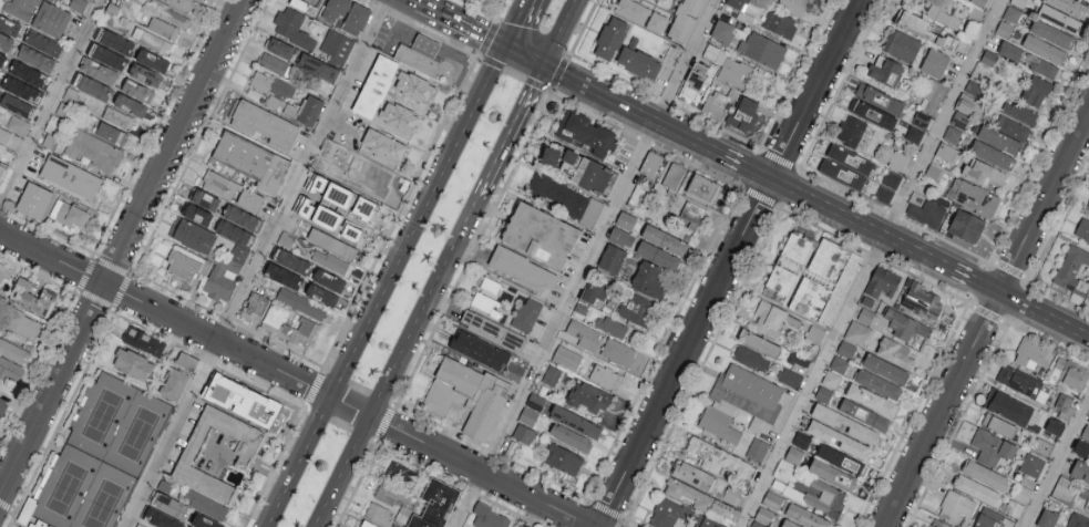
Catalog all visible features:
road: (415, 0)
building: (312, 1)
building: (480, 1)
building: (979, 1)
building: (1019, 2)
building: (184, 3)
building: (736, 3)
building: (78, 4)
building: (793, 6)
building: (1070, 7)
building: (304, 8)
building: (20, 9)
building: (336, 10)
building: (168, 13)
building: (1013, 13)
building: (943, 15)
building: (1059, 18)
building: (51, 19)
building: (355, 21)
road: (462, 23)
road: (517, 23)
building: (780, 23)
building: (9, 27)
building: (164, 28)
building: (292, 28)
building: (924, 29)
building: (723, 31)
road: (562, 33)
building: (1052, 33)
building: (677, 34)
building: (151, 40)
building: (6, 41)
building: (43, 43)
building: (902, 45)
building: (337, 46)
traffic signals: (506, 46)
building: (280, 48)
building: (111, 49)
building: (1045, 49)
building: (762, 50)
building: (624, 52)
building: (715, 53)
road: (526, 55)
building: (420, 58)
building: (989, 58)
building: (2, 59)
building: (35, 59)
building: (1029, 60)
building: (152, 61)
building: (935, 62)
building: (274, 63)
traffic signals: (546, 66)
building: (318, 68)
building: (97, 71)
building: (886, 71)
building: (736, 72)
building: (28, 74)
building: (145, 75)
building: (695, 84)
building: (376, 86)
building: (414, 86)
building: (93, 87)
building: (974, 87)
building: (22, 89)
building: (273, 90)
building: (137, 91)
building: (1036, 91)
building: (933, 95)
building: (880, 99)
road: (50, 104)
building: (718, 104)
building: (17, 105)
building: (130, 105)
road: (634, 110)
building: (966, 110)
building: (305, 111)
building: (1019, 112)
building: (743, 114)
building: (872, 114)
building: (399, 116)
building: (117, 117)
building: (922, 118)
building: (264, 124)
building: (16, 125)
road: (343, 127)
building: (1013, 127)
building: (851, 131)
road: (514, 132)
building: (112, 133)
building: (583, 133)
building: (914, 134)
building: (953, 134)
building: (999, 139)
building: (383, 145)
building: (93, 151)
building: (946, 152)
building: (993, 155)
building: (850, 161)
building: (253, 162)
building: (369, 166)
building: (650, 166)
road: (746, 166)
building: (840, 166)
building: (1, 170)
building: (933, 172)
building: (585, 173)
building: (984, 173)
building: (70, 177)
building: (674, 178)
building: (361, 182)
building: (220, 185)
building: (317, 185)
building: (888, 186)
building: (703, 193)
building: (337, 195)
building: (638, 195)
building: (973, 196)
building: (33, 200)
building: (205, 200)
building: (250, 200)
building: (567, 200)
building: (304, 208)
building: (363, 208)
building: (1088, 209)
building: (70, 214)
building: (927, 214)
building: (197, 215)
building: (689, 217)
building: (243, 218)
building: (326, 218)
building: (626, 220)
road: (861, 224)
building: (964, 226)
building: (1082, 229)
building: (351, 232)
building: (192, 235)
building: (621, 237)
building: (542, 238)
building: (665, 240)
building: (331, 244)
building: (798, 248)
road: (123, 249)
building: (658, 256)
building: (612, 258)
building: (228, 261)
building: (291, 261)
building: (330, 261)
road: (585, 262)
building: (826, 262)
road: (870, 262)
road: (255, 263)
road: (727, 263)
building: (185, 266)
building: (1071, 271)
building: (6, 272)
building: (521, 273)
building: (284, 276)
building: (648, 279)
building: (328, 280)
building: (780, 282)
road: (977, 282)
building: (490, 283)
building: (883, 283)
road: (384, 286)
building: (594, 291)
building: (321, 294)
building: (32, 296)
building: (807, 299)
building: (484, 301)
building: (920, 301)
building: (301, 303)
building: (254, 307)
building: (637, 309)
building: (527, 313)
building: (867, 316)
road: (1045, 316)
building: (769, 318)
road: (987, 321)
building: (23, 323)
building: (289, 324)
building: (906, 324)
building: (610, 325)
building: (493, 330)
building: (814, 332)
building: (857, 332)
building: (584, 333)
building: (143, 340)
building: (759, 341)
building: (846, 348)
building: (480, 349)
building: (14, 351)
building: (896, 351)
building: (624, 355)
building: (1031, 355)
building: (566, 356)
building: (752, 358)
building: (186, 360)
building: (132, 362)
road: (402, 362)
building: (839, 363)
building: (885, 368)
building: (10, 370)
building: (551, 374)
building: (1070, 374)
building: (606, 376)
building: (790, 376)
building: (831, 378)
road: (297, 379)
building: (174, 382)
building: (879, 382)
building: (1021, 382)
building: (468, 395)
building: (588, 395)
building: (240, 396)
building: (872, 399)
building: (2, 405)
building: (1008, 405)
building: (1064, 406)
building: (864, 413)
building: (1088, 418)
building: (575, 420)
building: (844, 423)
building: (998, 423)
building: (1055, 426)
building: (524, 432)
building: (1086, 432)
building: (571, 436)
building: (838, 438)
building: (993, 446)
building: (758, 448)
building: (245, 452)
building: (713, 452)
park: (102, 455)
building: (563, 457)
building: (842, 458)
road: (1057, 463)
road: (246, 464)
building: (1033, 464)
building: (1080, 471)
building: (402, 473)
building: (985, 473)
building: (694, 474)
building: (834, 474)
building: (976, 488)
building: (1065, 488)
building: (1020, 492)
building: (688, 493)
building: (731, 493)
building: (390, 494)
building: (824, 496)
building: (772, 499)
building: (169, 504)
building: (434, 504)
building: (1088, 504)
building: (956, 505)
building: (721, 506)
building: (378, 513)
building: (665, 513)
building: (807, 516)
building: (490, 517)
building: (1048, 517)
building: (161, 518)
building: (988, 518)
building: (771, 519)
building: (205, 520)
building: (1078, 520)
building: (710, 523)
building: (368, 524)
building: (939, 524)
building: (140, 525)
building: (525, 525)
building: (187, 526)

